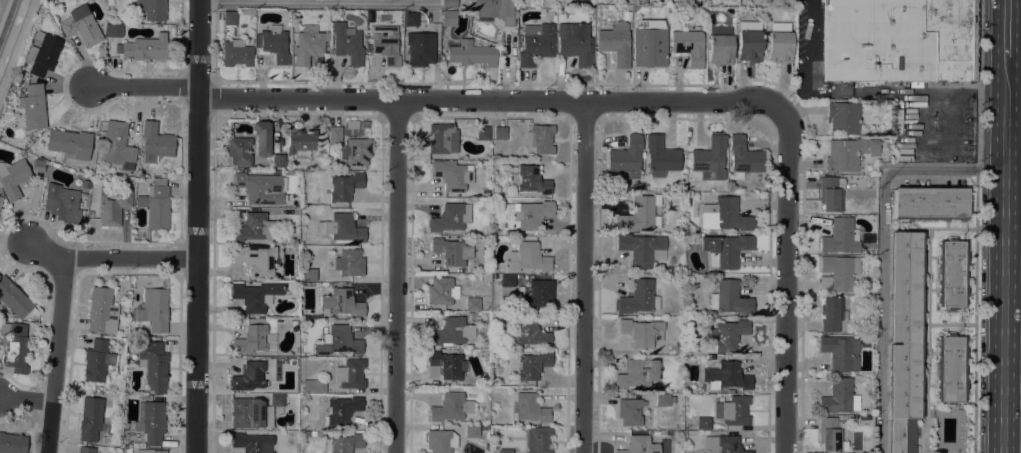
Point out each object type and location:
road: (313, 1)
building: (585, 3)
building: (448, 4)
building: (151, 9)
building: (247, 10)
building: (496, 10)
road: (1012, 10)
road: (1004, 15)
building: (229, 18)
building: (449, 18)
building: (411, 19)
building: (81, 26)
building: (220, 28)
building: (113, 31)
building: (309, 40)
building: (899, 40)
road: (16, 42)
building: (615, 42)
building: (273, 43)
building: (347, 43)
building: (536, 43)
building: (649, 43)
building: (385, 44)
building: (575, 44)
road: (1004, 44)
building: (749, 45)
road: (811, 45)
building: (688, 46)
building: (779, 46)
building: (143, 48)
building: (420, 49)
building: (720, 50)
building: (42, 53)
building: (236, 53)
building: (472, 54)
road: (438, 102)
building: (33, 106)
building: (842, 117)
building: (352, 124)
building: (482, 133)
building: (500, 133)
building: (334, 135)
building: (261, 137)
building: (443, 138)
building: (540, 138)
building: (155, 142)
building: (69, 143)
building: (301, 143)
building: (117, 145)
building: (239, 150)
building: (356, 151)
building: (848, 153)
building: (321, 154)
building: (625, 155)
building: (660, 156)
building: (743, 157)
building: (709, 158)
building: (278, 160)
building: (38, 165)
road: (944, 168)
building: (453, 175)
building: (13, 177)
building: (529, 179)
building: (259, 186)
building: (345, 186)
building: (485, 193)
building: (831, 193)
building: (85, 197)
building: (0, 199)
building: (62, 203)
building: (929, 203)
building: (155, 204)
building: (112, 205)
building: (305, 212)
building: (528, 213)
building: (640, 213)
building: (724, 215)
building: (450, 217)
road: (199, 226)
road: (977, 226)
building: (254, 228)
building: (341, 228)
building: (694, 236)
building: (840, 237)
building: (325, 240)
building: (870, 246)
building: (642, 249)
building: (724, 249)
building: (451, 251)
road: (1005, 255)
road: (114, 257)
building: (257, 258)
building: (527, 258)
building: (349, 262)
building: (840, 271)
building: (951, 273)
building: (309, 274)
road: (392, 277)
building: (487, 277)
road: (584, 278)
road: (786, 279)
building: (508, 280)
building: (823, 282)
building: (325, 284)
building: (439, 290)
building: (536, 293)
building: (255, 295)
building: (13, 298)
building: (638, 298)
building: (729, 298)
building: (340, 303)
building: (472, 303)
building: (153, 309)
road: (882, 310)
building: (101, 311)
building: (831, 313)
building: (656, 318)
building: (451, 331)
building: (642, 332)
building: (527, 334)
building: (723, 336)
building: (905, 339)
building: (250, 340)
building: (338, 341)
building: (865, 341)
building: (872, 344)
building: (14, 346)
building: (840, 352)
building: (484, 353)
road: (59, 355)
building: (97, 360)
building: (153, 365)
building: (444, 365)
building: (532, 365)
building: (950, 369)
building: (292, 373)
building: (637, 373)
building: (350, 374)
building: (727, 375)
building: (248, 376)
building: (451, 383)
building: (314, 386)
building: (133, 397)
building: (840, 397)
road: (28, 399)
building: (662, 399)
building: (276, 403)
building: (450, 407)
building: (529, 407)
building: (341, 410)
building: (732, 410)
building: (630, 411)
building: (246, 412)
building: (90, 418)
building: (494, 419)
building: (153, 422)
building: (703, 423)
building: (472, 431)
building: (663, 432)
building: (830, 435)
building: (105, 439)
building: (537, 439)
building: (440, 441)
building: (252, 442)
building: (12, 443)
building: (343, 443)
building: (137, 444)
building: (723, 444)
building: (639, 445)
building: (86, 449)
building: (128, 451)
building: (151, 451)
building: (505, 451)

